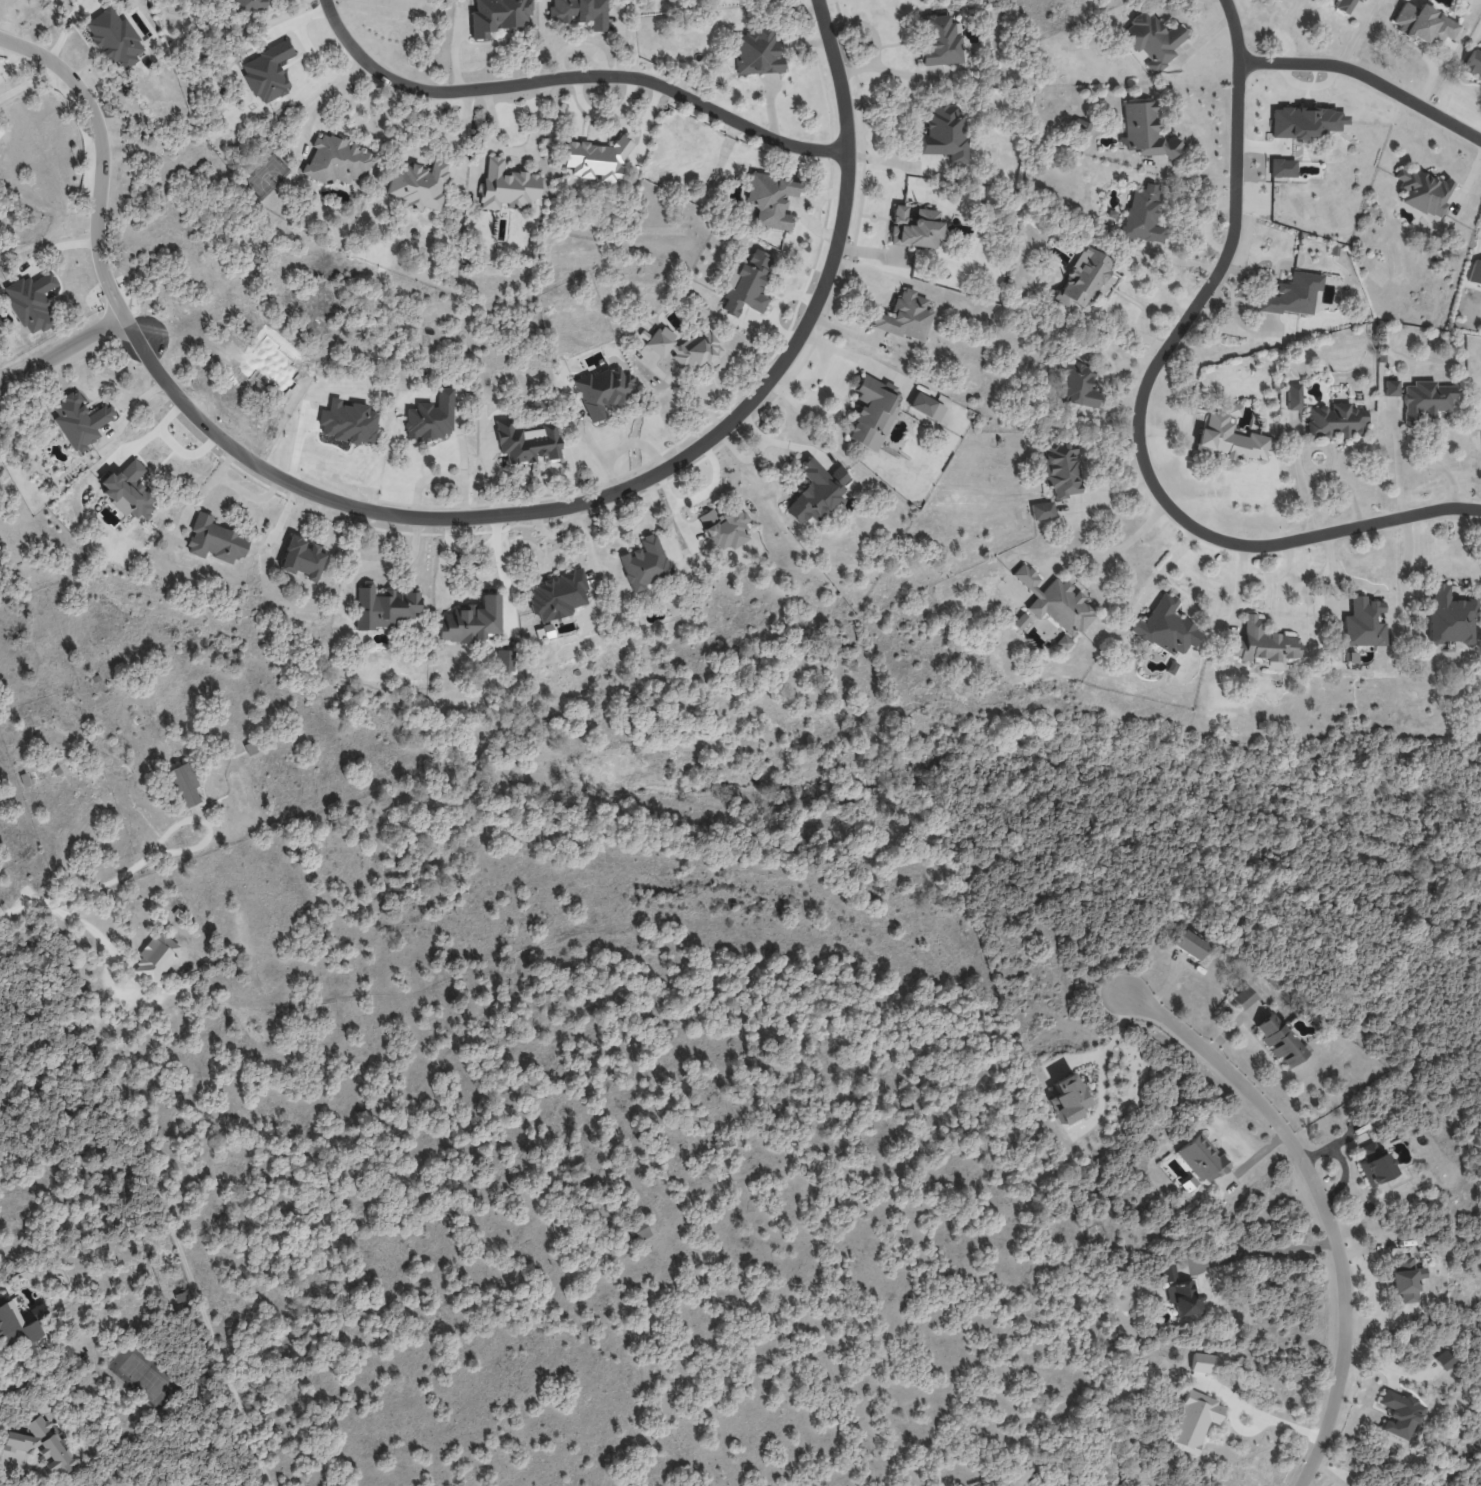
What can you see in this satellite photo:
building: (1361, 0)
building: (249, 5)
building: (1344, 5)
building: (579, 12)
building: (497, 15)
building: (1423, 24)
road: (877, 28)
road: (1235, 30)
building: (114, 37)
building: (940, 40)
building: (1152, 40)
building: (756, 52)
building: (1473, 64)
road: (573, 75)
road: (1367, 75)
road: (325, 94)
building: (1306, 122)
road: (892, 127)
building: (1144, 130)
building: (944, 133)
road: (517, 150)
building: (335, 160)
building: (596, 160)
building: (1282, 167)
road: (1191, 177)
building: (417, 184)
building: (506, 186)
building: (1422, 192)
building: (770, 199)
building: (1142, 215)
building: (914, 227)
building: (1475, 272)
building: (1082, 280)
building: (746, 283)
building: (1292, 295)
building: (30, 302)
road: (778, 305)
building: (905, 317)
building: (660, 340)
building: (694, 350)
road: (61, 351)
road: (853, 352)
building: (1076, 385)
building: (1391, 388)
building: (603, 391)
building: (1293, 395)
building: (1425, 400)
building: (926, 406)
building: (871, 411)
building: (431, 417)
building: (79, 421)
building: (1334, 421)
building: (1229, 437)
road: (154, 438)
road: (1141, 438)
road: (782, 440)
building: (526, 441)
road: (601, 451)
road: (188, 459)
road: (1398, 465)
building: (1059, 468)
road: (1439, 468)
building: (127, 490)
building: (817, 491)
building: (1041, 510)
road: (461, 517)
building: (723, 527)
building: (214, 540)
road: (1122, 546)
building: (302, 558)
building: (644, 563)
road: (504, 572)
building: (557, 595)
building: (1055, 602)
building: (384, 607)
building: (1450, 616)
building: (470, 621)
building: (1020, 621)
building: (1362, 623)
building: (1165, 627)
building: (1062, 642)
building: (1262, 644)
building: (504, 660)
building: (184, 785)
road: (1096, 803)
road: (206, 824)
road: (79, 888)
road: (78, 925)
building: (1189, 945)
building: (156, 957)
building: (1243, 997)
building: (1279, 1041)
building: (1066, 1098)
building: (1201, 1159)
building: (1374, 1163)
road: (1324, 1202)
building: (637, 1231)
road: (1265, 1251)
building: (1405, 1279)
building: (1180, 1292)
building: (15, 1326)
building: (1445, 1359)
building: (1204, 1363)
road: (17, 1383)
building: (1398, 1414)
road: (1274, 1419)
building: (1191, 1421)
building: (42, 1445)

